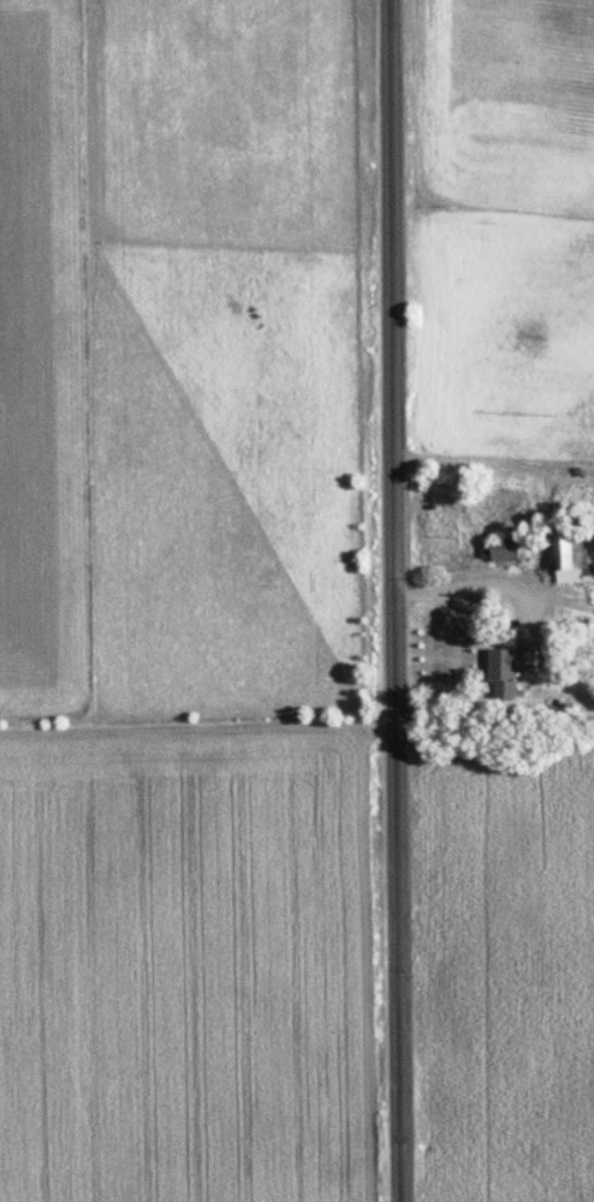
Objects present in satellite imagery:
building: (568, 545)
building: (501, 549)
road: (396, 601)
building: (506, 670)

